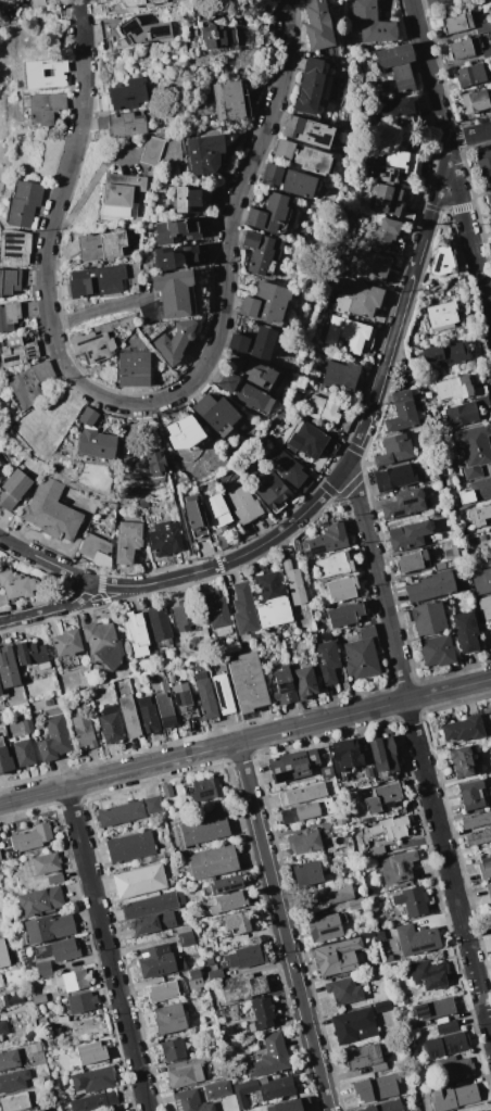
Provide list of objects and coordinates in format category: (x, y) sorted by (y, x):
building: (11, 1)
building: (37, 3)
building: (130, 4)
building: (204, 13)
building: (370, 23)
building: (457, 24)
building: (318, 25)
building: (483, 27)
building: (134, 31)
building: (252, 37)
building: (218, 38)
building: (465, 48)
building: (487, 52)
building: (399, 65)
building: (34, 73)
building: (473, 74)
building: (310, 87)
building: (127, 96)
building: (230, 101)
building: (476, 101)
building: (103, 103)
building: (392, 106)
building: (46, 108)
building: (102, 125)
building: (126, 125)
building: (307, 130)
road: (468, 135)
building: (152, 151)
building: (204, 154)
building: (303, 156)
road: (451, 159)
building: (403, 161)
building: (483, 162)
building: (386, 173)
building: (290, 180)
road: (87, 188)
building: (122, 194)
building: (489, 198)
building: (386, 199)
building: (187, 200)
building: (24, 204)
road: (448, 211)
building: (269, 213)
building: (182, 229)
building: (388, 236)
building: (100, 245)
building: (14, 247)
building: (264, 252)
building: (179, 257)
building: (444, 260)
building: (372, 267)
building: (10, 281)
building: (95, 281)
building: (171, 296)
building: (362, 299)
building: (266, 303)
road: (96, 311)
building: (14, 314)
building: (442, 316)
building: (466, 330)
building: (347, 332)
building: (176, 342)
building: (254, 343)
building: (93, 345)
building: (17, 352)
building: (448, 354)
building: (134, 369)
building: (253, 371)
building: (343, 376)
building: (408, 377)
building: (30, 382)
building: (455, 388)
building: (244, 392)
road: (137, 404)
building: (322, 409)
building: (402, 412)
building: (218, 414)
building: (462, 414)
building: (88, 417)
building: (182, 432)
building: (314, 441)
building: (97, 443)
building: (394, 450)
building: (474, 450)
building: (156, 464)
building: (290, 470)
building: (394, 477)
building: (449, 481)
road: (330, 484)
building: (477, 491)
building: (273, 492)
building: (12, 494)
building: (243, 504)
building: (403, 504)
building: (217, 510)
building: (51, 512)
building: (480, 516)
building: (197, 518)
building: (461, 533)
building: (408, 535)
building: (490, 535)
building: (165, 538)
building: (483, 538)
building: (328, 539)
building: (128, 541)
building: (490, 545)
building: (95, 546)
building: (411, 561)
road: (52, 563)
building: (335, 565)
building: (439, 566)
building: (481, 581)
building: (294, 583)
building: (16, 585)
building: (431, 586)
building: (342, 589)
building: (272, 601)
building: (486, 607)
building: (244, 609)
building: (218, 614)
building: (185, 615)
building: (344, 615)
building: (429, 618)
building: (160, 624)
building: (466, 631)
building: (137, 633)
building: (67, 643)
building: (103, 643)
building: (438, 651)
building: (33, 655)
building: (361, 658)
building: (327, 661)
building: (9, 667)
building: (248, 682)
building: (304, 682)
building: (284, 686)
building: (0, 691)
building: (5, 694)
building: (224, 694)
building: (206, 695)
building: (184, 703)
building: (97, 708)
building: (165, 710)
building: (149, 715)
building: (129, 716)
building: (111, 724)
building: (28, 725)
building: (464, 729)
building: (84, 731)
building: (54, 735)
road: (246, 743)
road: (419, 750)
building: (24, 753)
building: (383, 754)
building: (347, 756)
building: (5, 758)
building: (463, 761)
building: (291, 766)
building: (327, 772)
building: (367, 772)
building: (207, 788)
building: (167, 791)
building: (332, 791)
building: (302, 794)
building: (471, 795)
building: (383, 796)
building: (154, 805)
building: (304, 811)
building: (121, 813)
building: (340, 820)
building: (476, 820)
building: (391, 828)
building: (204, 829)
building: (32, 837)
building: (478, 838)
building: (304, 841)
building: (130, 847)
building: (377, 850)
building: (0, 857)
building: (212, 862)
building: (47, 863)
building: (398, 867)
building: (486, 868)
building: (306, 873)
building: (55, 879)
building: (139, 881)
building: (224, 885)
building: (489, 893)
building: (335, 895)
building: (412, 900)
building: (41, 901)
building: (228, 901)
building: (355, 904)
building: (153, 905)
building: (489, 912)
building: (152, 923)
building: (238, 923)
building: (326, 926)
building: (48, 927)
road: (284, 927)
building: (186, 936)
building: (417, 939)
road: (108, 949)
building: (64, 950)
building: (342, 952)
building: (3, 955)
building: (244, 957)
building: (197, 959)
building: (209, 960)
building: (159, 961)
building: (43, 969)
building: (429, 973)
building: (215, 975)
building: (1, 981)
building: (74, 981)
building: (243, 986)
building: (344, 990)
building: (163, 992)
building: (12, 998)
building: (39, 999)
building: (81, 1002)
building: (234, 1007)
building: (382, 1007)
building: (435, 1008)
building: (263, 1013)
building: (59, 1019)
building: (169, 1019)
building: (43, 1022)
building: (354, 1026)
building: (406, 1026)
building: (3, 1027)
building: (29, 1036)
building: (446, 1040)
building: (36, 1047)
building: (174, 1050)
building: (90, 1052)
building: (272, 1055)
building: (365, 1058)
building: (11, 1059)
building: (223, 1068)
building: (457, 1068)
building: (186, 1072)
building: (46, 1078)
building: (13, 1080)
building: (92, 1080)
building: (225, 1086)
building: (377, 1088)
building: (264, 1089)
building: (454, 1097)
building: (16, 1101)
building: (95, 1101)
building: (191, 1101)
building: (292, 1104)
building: (385, 1106)
building: (39, 1110)
building: (481, 1110)

